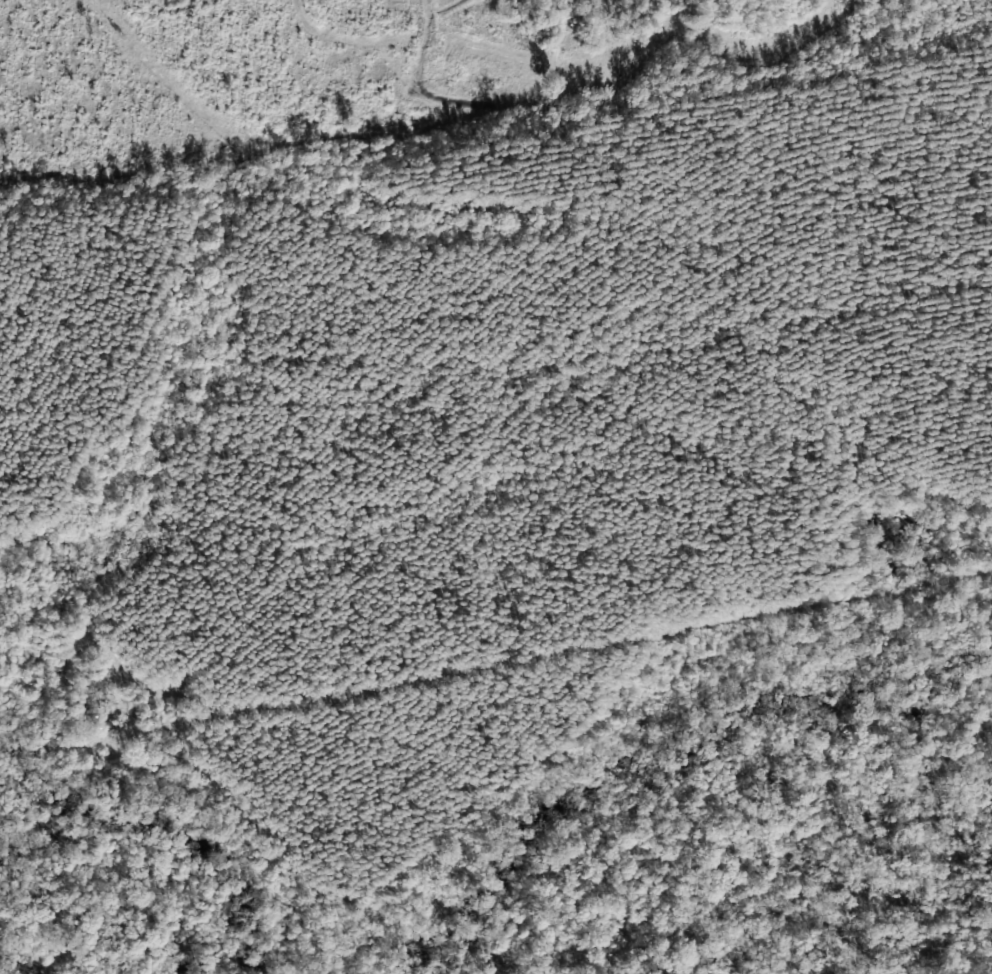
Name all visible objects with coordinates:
road: (496, 673)

